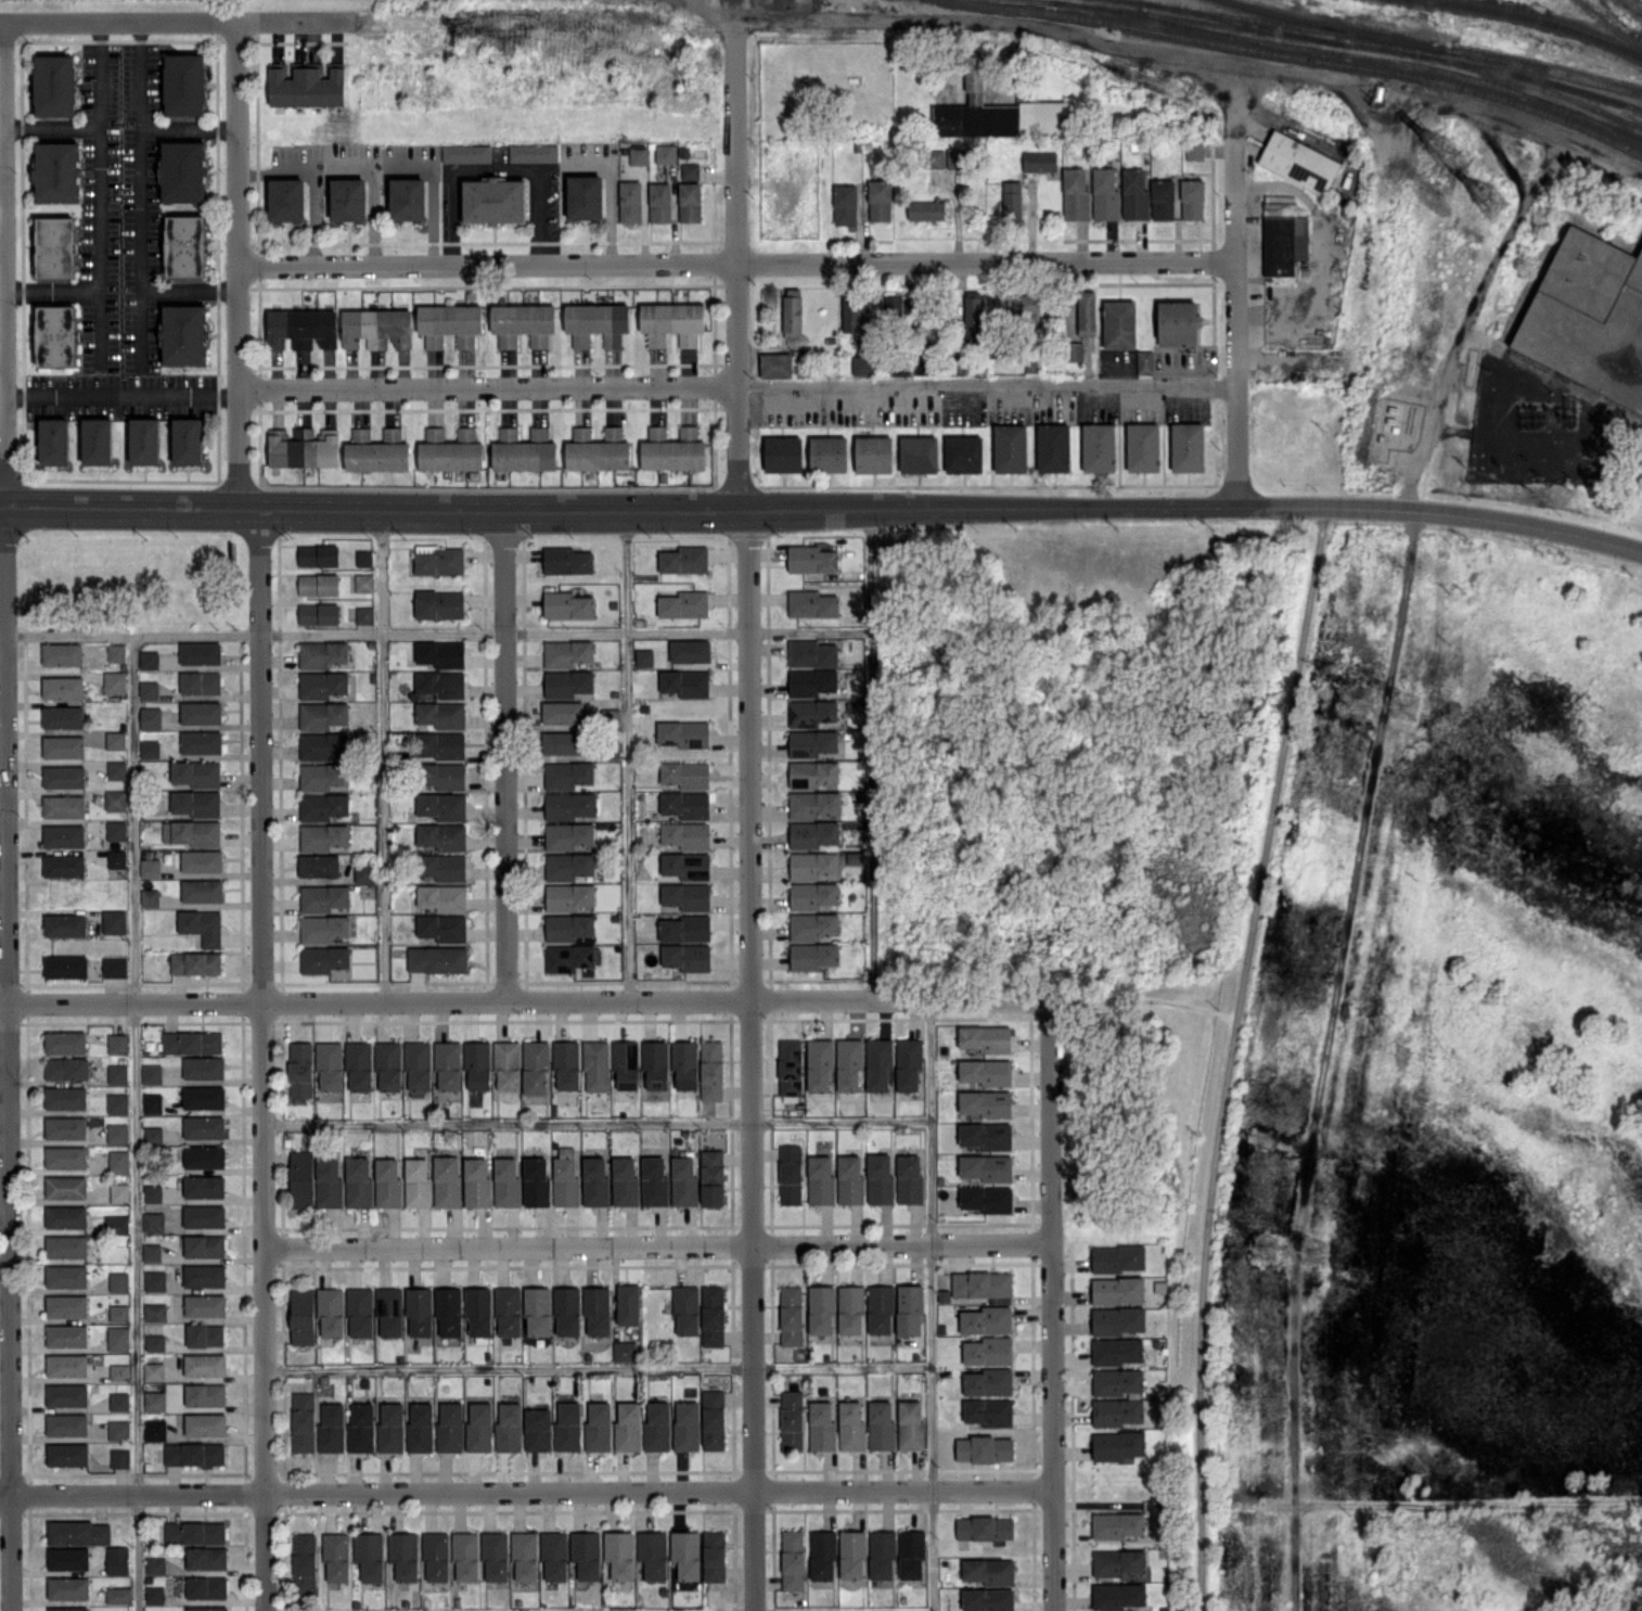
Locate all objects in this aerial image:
railway: (1129, 1)
road: (714, 11)
power tower: (1615, 14)
railway: (1189, 20)
railway: (1538, 20)
road: (858, 21)
road: (175, 22)
railway: (1245, 23)
railway: (1290, 25)
railway: (1608, 25)
railway: (1433, 47)
railway: (1352, 54)
railway: (1299, 56)
railway: (1496, 68)
railway: (1528, 82)
building: (55, 85)
building: (185, 85)
building: (307, 85)
building: (996, 112)
road: (51, 122)
road: (190, 126)
building: (1194, 150)
building: (534, 152)
power tower: (1446, 152)
building: (466, 153)
building: (666, 153)
building: (638, 155)
building: (935, 157)
building: (954, 157)
building: (1040, 161)
road: (1, 162)
building: (1299, 162)
road: (1235, 163)
road: (497, 168)
building: (690, 169)
building: (183, 170)
building: (57, 171)
road: (313, 180)
building: (1105, 193)
building: (1134, 193)
road: (100, 194)
road: (434, 194)
building: (1075, 194)
road: (141, 195)
road: (375, 196)
building: (585, 196)
building: (348, 199)
building: (408, 199)
building: (1163, 199)
building: (1192, 199)
building: (286, 200)
building: (493, 200)
building: (880, 200)
building: (630, 201)
building: (690, 201)
building: (659, 202)
building: (1012, 202)
building: (845, 204)
power tower: (1492, 206)
building: (926, 209)
building: (1285, 243)
road: (1, 245)
building: (185, 245)
building: (55, 246)
road: (239, 261)
road: (3, 263)
road: (734, 263)
road: (736, 264)
road: (190, 289)
road: (52, 291)
building: (1028, 304)
building: (899, 306)
building: (1582, 309)
building: (1086, 311)
building: (793, 312)
building: (851, 315)
building: (973, 315)
building: (672, 322)
building: (1179, 322)
building: (450, 323)
building: (523, 323)
building: (596, 323)
building: (1119, 323)
building: (302, 328)
building: (377, 328)
building: (184, 334)
building: (55, 335)
building: (1075, 350)
building: (1144, 361)
road: (1447, 362)
building: (775, 365)
building: (862, 365)
road: (2, 367)
building: (922, 367)
road: (986, 383)
road: (487, 388)
road: (121, 397)
building: (393, 433)
building: (54, 440)
building: (97, 440)
building: (144, 440)
building: (188, 440)
building: (304, 446)
building: (1188, 446)
building: (1053, 447)
building: (1099, 447)
building: (1143, 447)
building: (1011, 448)
building: (598, 449)
building: (672, 449)
building: (450, 450)
building: (524, 450)
building: (375, 452)
building: (783, 453)
building: (828, 453)
building: (873, 453)
building: (919, 453)
building: (964, 453)
road: (822, 507)
building: (319, 554)
building: (684, 559)
building: (811, 559)
building: (439, 560)
building: (567, 560)
building: (364, 583)
building: (318, 584)
building: (439, 603)
building: (811, 603)
building: (567, 604)
building: (683, 604)
building: (319, 613)
building: (364, 614)
road: (436, 631)
building: (690, 650)
building: (116, 652)
building: (201, 652)
building: (812, 652)
building: (62, 653)
building: (322, 653)
building: (440, 653)
building: (567, 653)
building: (644, 657)
building: (149, 660)
building: (114, 681)
building: (811, 681)
building: (201, 682)
building: (685, 682)
building: (441, 683)
building: (567, 683)
building: (322, 685)
building: (63, 687)
building: (149, 690)
power tower: (1360, 704)
power tower: (1411, 711)
building: (201, 712)
building: (563, 712)
building: (811, 712)
building: (323, 714)
building: (441, 714)
building: (63, 717)
building: (151, 717)
building: (683, 733)
building: (115, 740)
building: (201, 741)
building: (563, 742)
building: (812, 743)
building: (441, 744)
building: (324, 745)
building: (64, 746)
building: (150, 749)
road: (628, 753)
road: (872, 753)
road: (383, 754)
road: (506, 754)
building: (116, 769)
building: (196, 772)
building: (812, 772)
building: (567, 773)
building: (685, 773)
building: (444, 775)
building: (64, 776)
building: (323, 776)
building: (115, 800)
building: (196, 802)
building: (685, 804)
building: (814, 804)
building: (64, 805)
building: (441, 805)
building: (570, 805)
building: (323, 806)
building: (116, 830)
building: (193, 832)
building: (812, 833)
building: (685, 834)
building: (64, 835)
building: (442, 835)
building: (568, 835)
building: (323, 836)
building: (117, 858)
building: (202, 860)
building: (63, 865)
building: (319, 865)
building: (685, 865)
building: (812, 865)
building: (442, 866)
building: (568, 866)
building: (150, 867)
building: (364, 872)
building: (202, 890)
building: (685, 895)
building: (813, 895)
building: (568, 896)
building: (150, 897)
building: (323, 897)
building: (442, 897)
building: (114, 921)
building: (65, 924)
building: (202, 925)
building: (812, 925)
building: (442, 926)
building: (568, 926)
building: (324, 928)
building: (685, 928)
building: (687, 956)
building: (813, 956)
building: (570, 957)
building: (323, 958)
building: (437, 958)
building: (195, 962)
building: (65, 967)
building: (115, 967)
road: (523, 1002)
road: (1143, 1003)
building: (986, 1038)
building: (65, 1041)
building: (117, 1043)
building: (192, 1043)
road: (8, 1057)
road: (262, 1057)
road: (1232, 1057)
road: (751, 1058)
road: (1327, 1058)
building: (626, 1063)
building: (655, 1063)
building: (684, 1063)
building: (819, 1063)
building: (849, 1063)
building: (908, 1063)
building: (330, 1064)
building: (477, 1064)
building: (508, 1064)
building: (878, 1064)
building: (359, 1065)
building: (388, 1065)
building: (418, 1065)
building: (448, 1065)
building: (566, 1065)
building: (595, 1065)
building: (66, 1067)
building: (204, 1067)
building: (535, 1067)
building: (300, 1069)
building: (790, 1069)
building: (711, 1070)
building: (986, 1071)
building: (117, 1073)
building: (152, 1073)
building: (204, 1097)
building: (65, 1098)
building: (153, 1102)
building: (986, 1102)
building: (117, 1103)
road: (596, 1121)
road: (136, 1122)
building: (204, 1126)
building: (66, 1127)
building: (117, 1133)
building: (153, 1134)
building: (985, 1135)
building: (204, 1155)
building: (66, 1156)
building: (118, 1161)
building: (986, 1166)
building: (791, 1174)
building: (711, 1177)
building: (302, 1178)
building: (566, 1178)
building: (880, 1178)
building: (909, 1178)
building: (820, 1179)
building: (849, 1179)
building: (447, 1180)
building: (536, 1180)
building: (595, 1180)
building: (625, 1180)
building: (358, 1181)
building: (477, 1181)
building: (506, 1181)
building: (654, 1181)
building: (684, 1181)
building: (329, 1182)
building: (387, 1182)
building: (418, 1182)
building: (204, 1186)
building: (66, 1187)
building: (119, 1192)
building: (153, 1193)
building: (987, 1199)
building: (66, 1216)
building: (204, 1216)
building: (153, 1222)
building: (117, 1223)
road: (657, 1244)
building: (204, 1245)
building: (66, 1246)
building: (152, 1252)
power tower: (1267, 1254)
building: (1118, 1257)
power tower: (1319, 1257)
building: (204, 1275)
building: (66, 1276)
building: (155, 1280)
building: (119, 1281)
building: (982, 1283)
building: (1117, 1290)
building: (205, 1304)
building: (628, 1304)
building: (66, 1305)
road: (932, 1305)
road: (1050, 1306)
building: (685, 1308)
building: (881, 1308)
building: (596, 1309)
building: (821, 1309)
building: (850, 1309)
building: (910, 1309)
building: (331, 1310)
building: (389, 1310)
building: (478, 1310)
building: (508, 1310)
building: (538, 1310)
building: (567, 1310)
building: (155, 1312)
building: (360, 1312)
building: (420, 1312)
building: (449, 1312)
building: (119, 1313)
building: (303, 1315)
building: (713, 1315)
building: (791, 1315)
building: (987, 1320)
building: (1117, 1320)
building: (66, 1334)
building: (205, 1334)
building: (118, 1338)
building: (155, 1342)
building: (625, 1350)
building: (988, 1351)
building: (1117, 1351)
building: (205, 1364)
building: (66, 1365)
road: (509, 1368)
building: (153, 1370)
building: (119, 1371)
building: (988, 1381)
building: (1117, 1381)
building: (66, 1394)
building: (205, 1394)
building: (119, 1401)
building: (154, 1401)
building: (988, 1411)
building: (1117, 1411)
building: (713, 1419)
building: (792, 1420)
building: (303, 1421)
building: (66, 1423)
building: (205, 1423)
building: (687, 1424)
building: (910, 1424)
building: (479, 1425)
building: (598, 1425)
building: (628, 1425)
building: (657, 1425)
building: (821, 1425)
building: (851, 1425)
building: (881, 1425)
building: (450, 1427)
building: (509, 1427)
building: (568, 1427)
building: (331, 1428)
building: (360, 1428)
building: (390, 1428)
building: (420, 1428)
building: (118, 1429)
building: (154, 1429)
building: (538, 1429)
building: (1118, 1445)
building: (985, 1448)
building: (194, 1453)
building: (67, 1454)
building: (119, 1457)
road: (526, 1493)
building: (1118, 1524)
building: (985, 1527)
building: (78, 1532)
building: (194, 1532)
building: (554, 1554)
building: (586, 1554)
building: (619, 1554)
building: (653, 1554)
building: (687, 1554)
building: (911, 1554)
building: (336, 1555)
building: (369, 1555)
building: (403, 1555)
building: (436, 1555)
building: (465, 1555)
building: (714, 1555)
building: (822, 1555)
building: (852, 1555)
building: (882, 1555)
building: (495, 1556)
building: (525, 1556)
building: (67, 1558)
building: (206, 1558)
building: (117, 1559)
building: (792, 1559)
building: (1119, 1561)
building: (304, 1562)
building: (155, 1564)
building: (989, 1570)
building: (68, 1587)
building: (206, 1587)
building: (154, 1594)
building: (118, 1595)
building: (1117, 1595)
building: (988, 1599)
building: (68, 1608)
building: (207, 1608)
road: (888, 1610)

